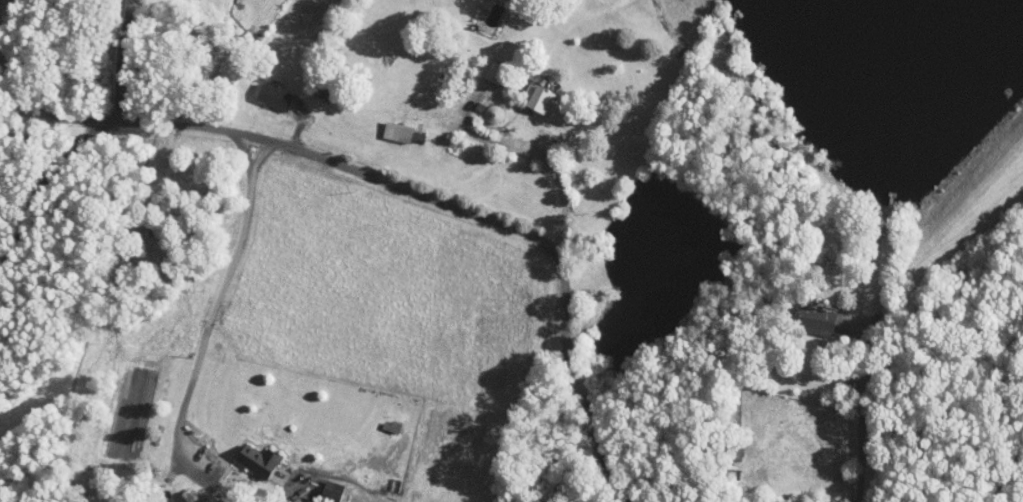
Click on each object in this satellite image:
road: (121, 58)
building: (483, 66)
building: (534, 76)
building: (262, 90)
building: (526, 92)
building: (385, 125)
road: (543, 127)
road: (477, 131)
road: (282, 142)
road: (46, 180)
road: (229, 276)
building: (804, 315)
road: (566, 326)
road: (862, 417)
building: (246, 452)
building: (320, 485)

